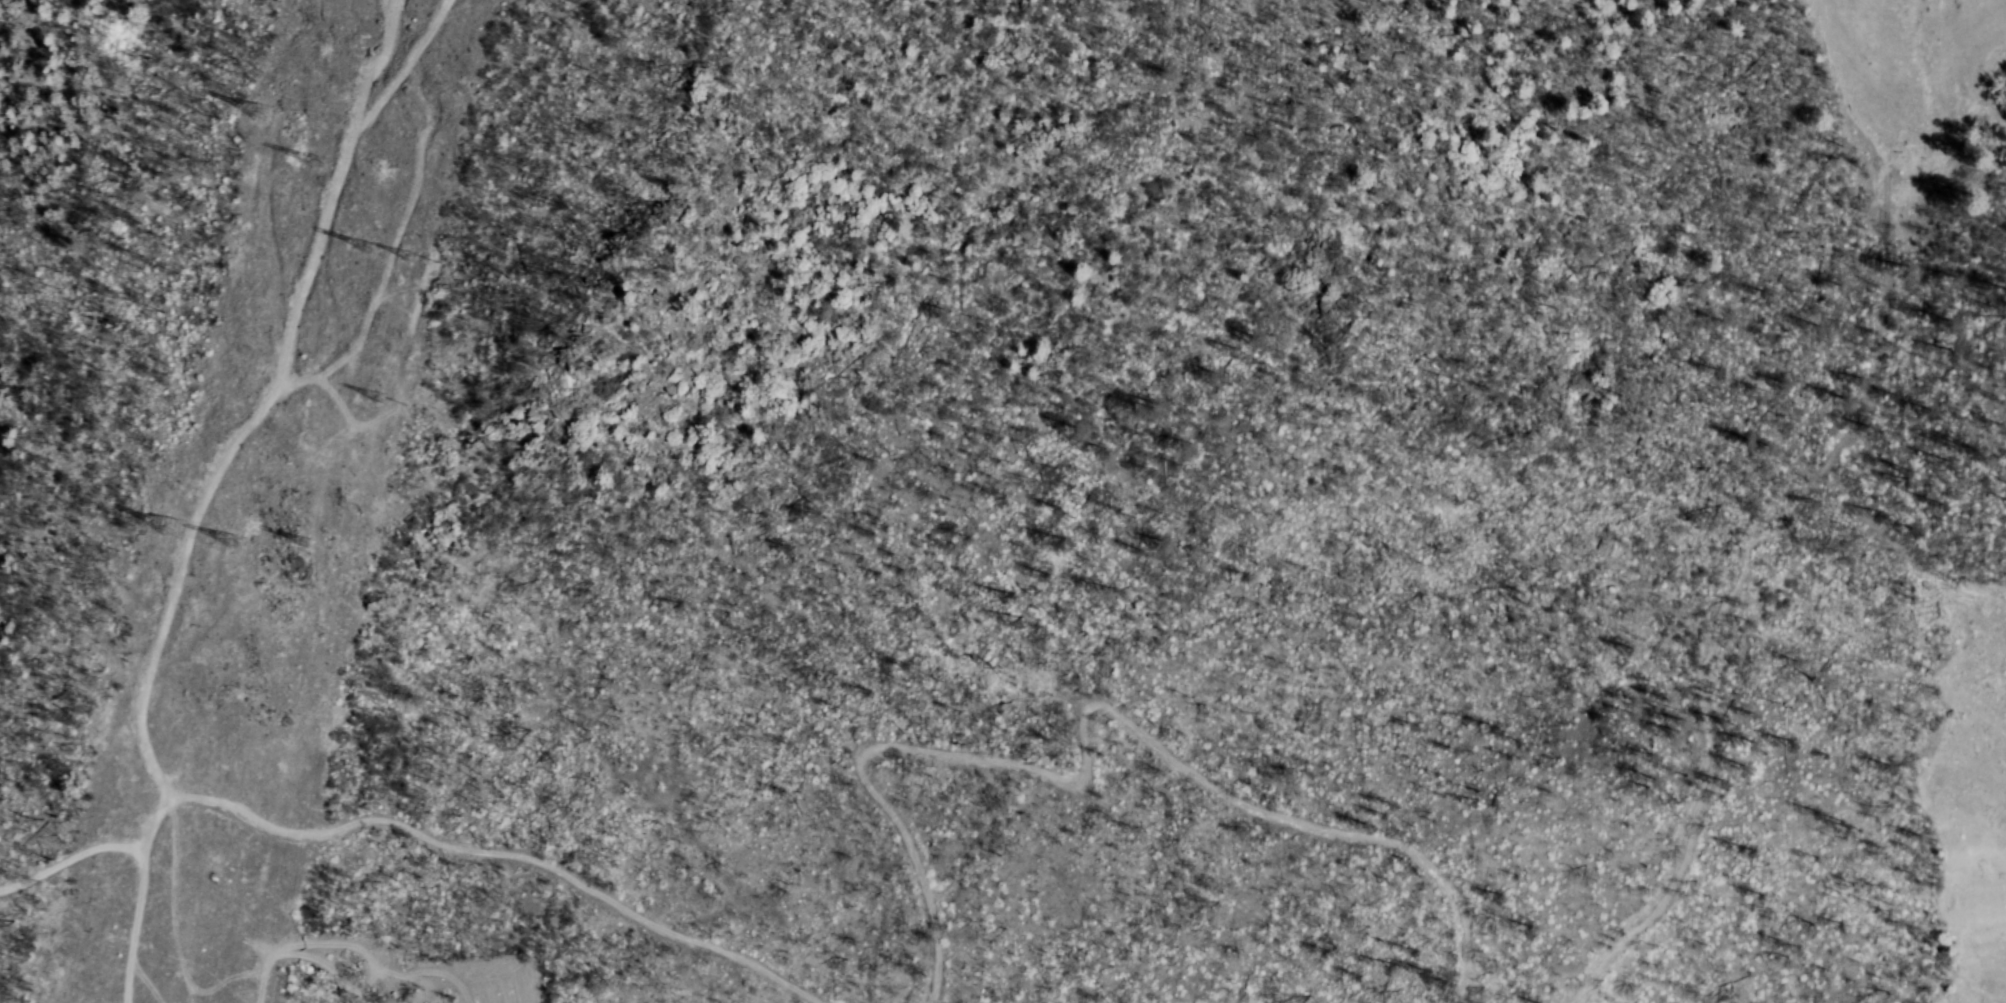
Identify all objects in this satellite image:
power tower: (260, 113)
power tower: (341, 159)
power tower: (379, 235)
power tower: (424, 256)
power tower: (396, 392)
power tower: (172, 529)
power tower: (256, 538)
power tower: (323, 541)
road: (1746, 622)
road: (1056, 760)
road: (407, 847)
road: (1493, 913)

